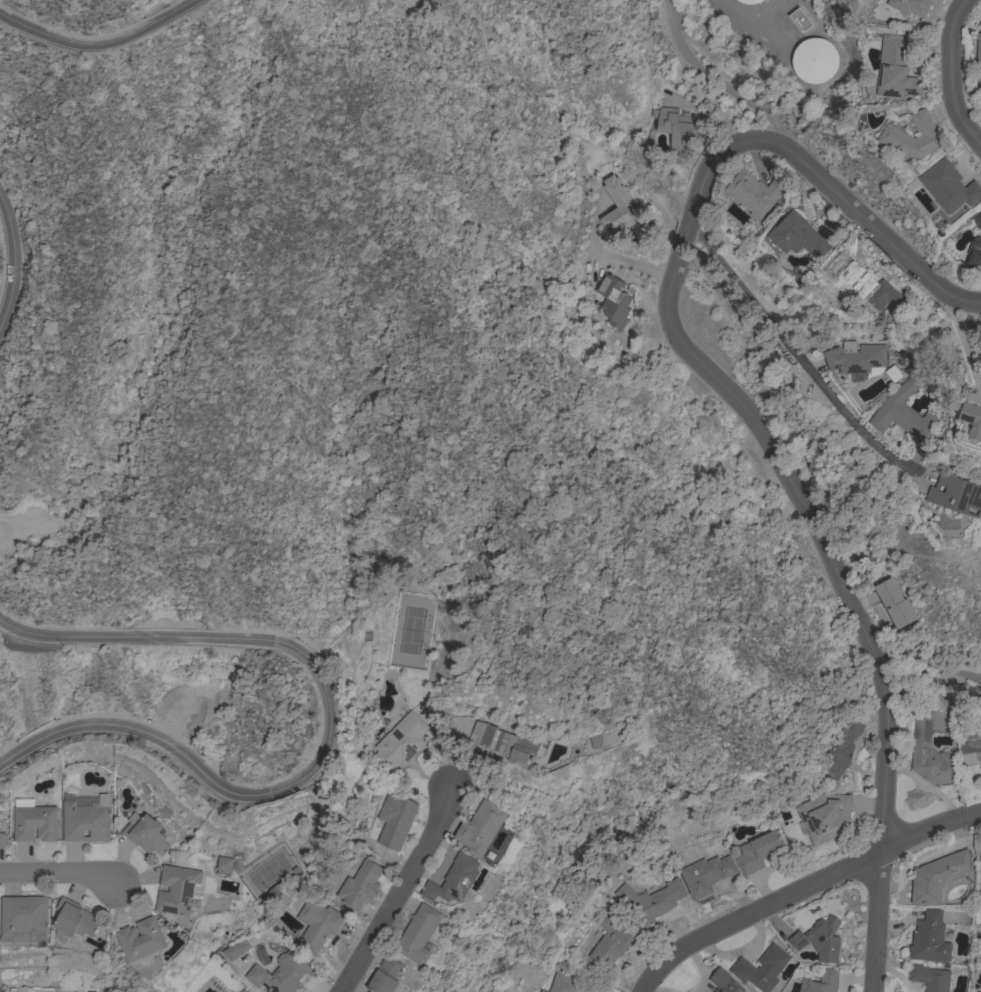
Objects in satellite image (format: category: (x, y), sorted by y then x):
building: (750, 1)
building: (911, 6)
building: (799, 20)
road: (98, 44)
building: (978, 48)
building: (814, 60)
building: (897, 68)
road: (949, 74)
building: (980, 109)
building: (677, 127)
building: (912, 137)
building: (949, 186)
building: (755, 192)
building: (619, 208)
building: (977, 219)
building: (797, 236)
building: (974, 254)
road: (609, 261)
road: (12, 265)
building: (865, 284)
building: (613, 301)
road: (962, 345)
building: (980, 345)
road: (793, 352)
road: (692, 359)
building: (861, 360)
building: (902, 414)
building: (972, 419)
building: (955, 494)
building: (894, 603)
road: (925, 669)
road: (328, 733)
building: (595, 741)
building: (399, 742)
building: (506, 744)
building: (844, 745)
building: (969, 752)
building: (930, 754)
building: (559, 770)
building: (825, 815)
building: (85, 818)
building: (395, 819)
building: (34, 823)
building: (481, 828)
building: (146, 835)
building: (2, 840)
building: (757, 851)
building: (980, 857)
building: (224, 863)
building: (705, 874)
road: (56, 875)
building: (938, 877)
building: (454, 880)
building: (359, 885)
building: (177, 890)
road: (803, 890)
road: (393, 900)
building: (651, 901)
building: (980, 902)
building: (23, 915)
building: (74, 918)
road: (876, 924)
building: (317, 925)
building: (419, 934)
building: (929, 938)
building: (141, 939)
building: (820, 939)
building: (610, 943)
building: (234, 951)
building: (761, 968)
building: (281, 974)
building: (385, 976)
building: (929, 977)
building: (723, 981)
building: (566, 982)
building: (824, 982)
building: (0, 991)
building: (242, 991)

